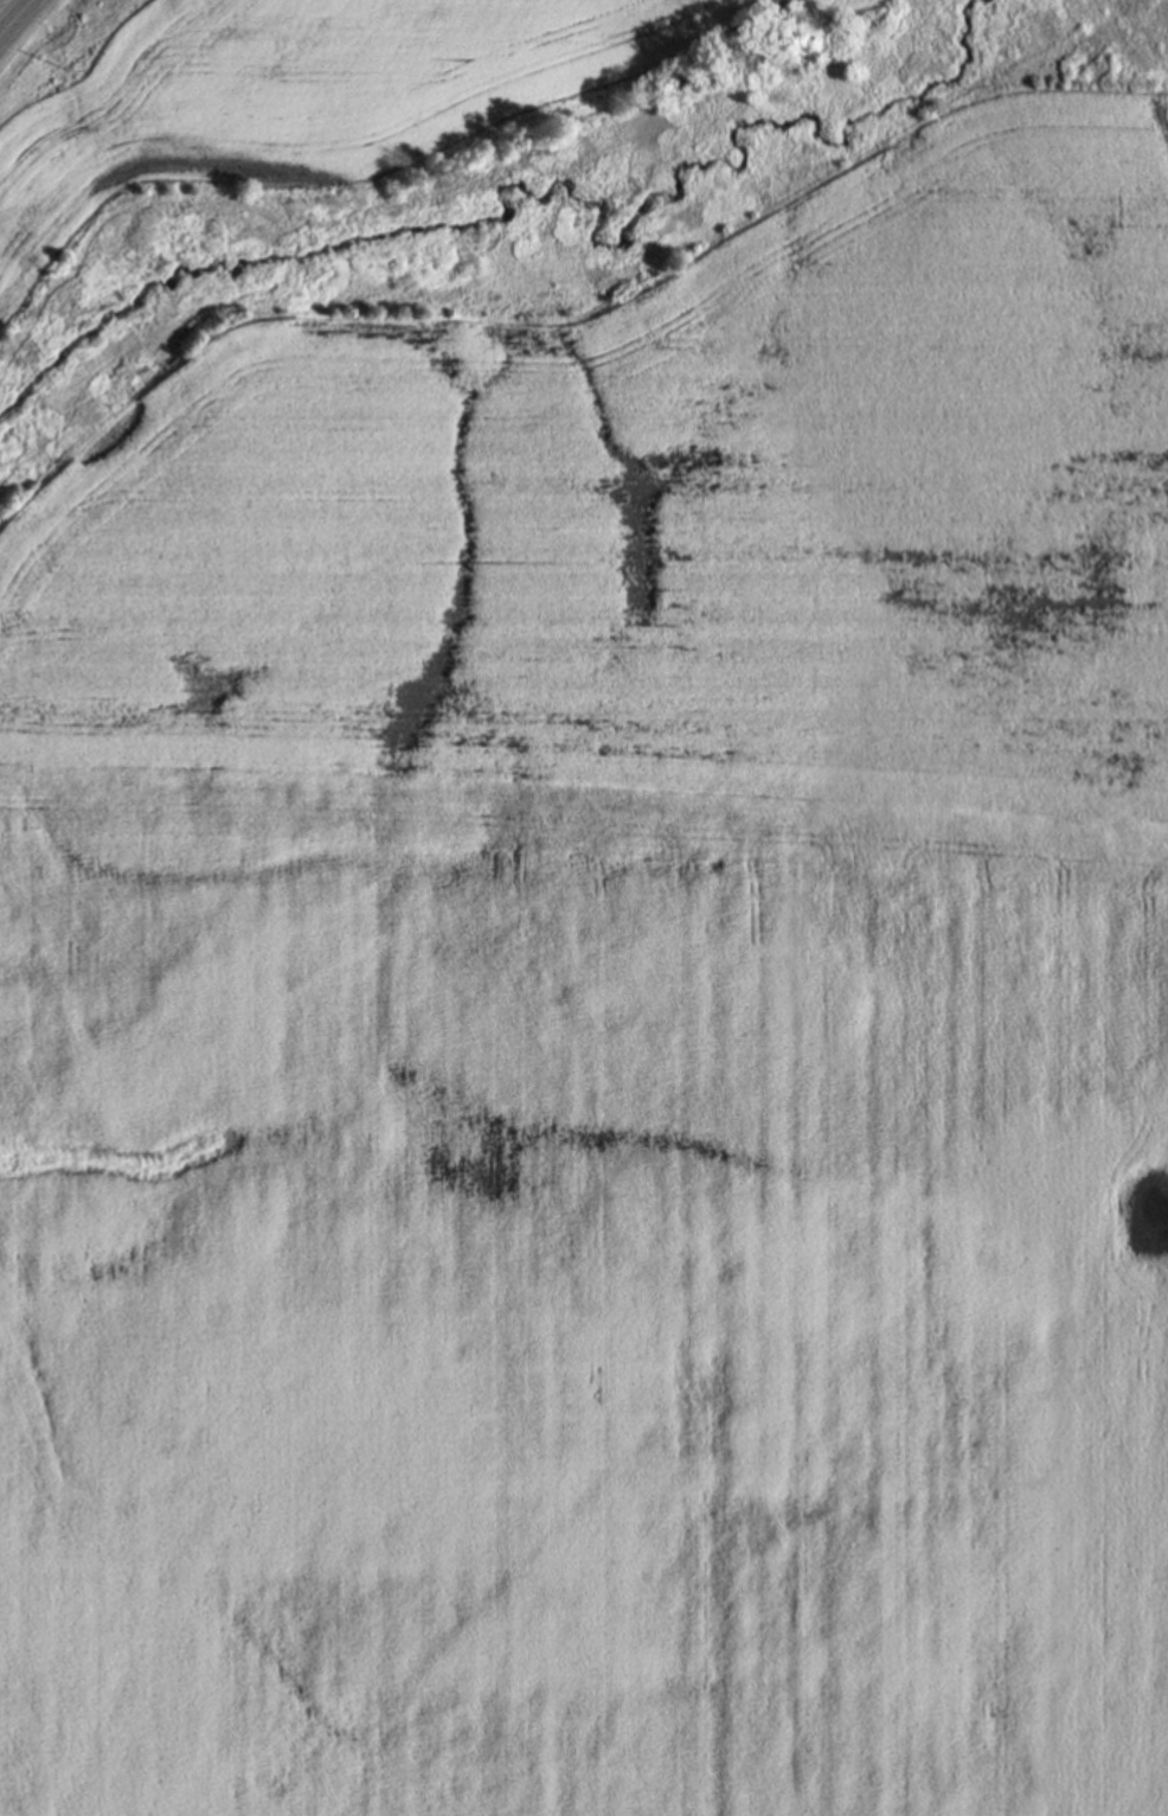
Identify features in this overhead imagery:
road: (12, 13)

